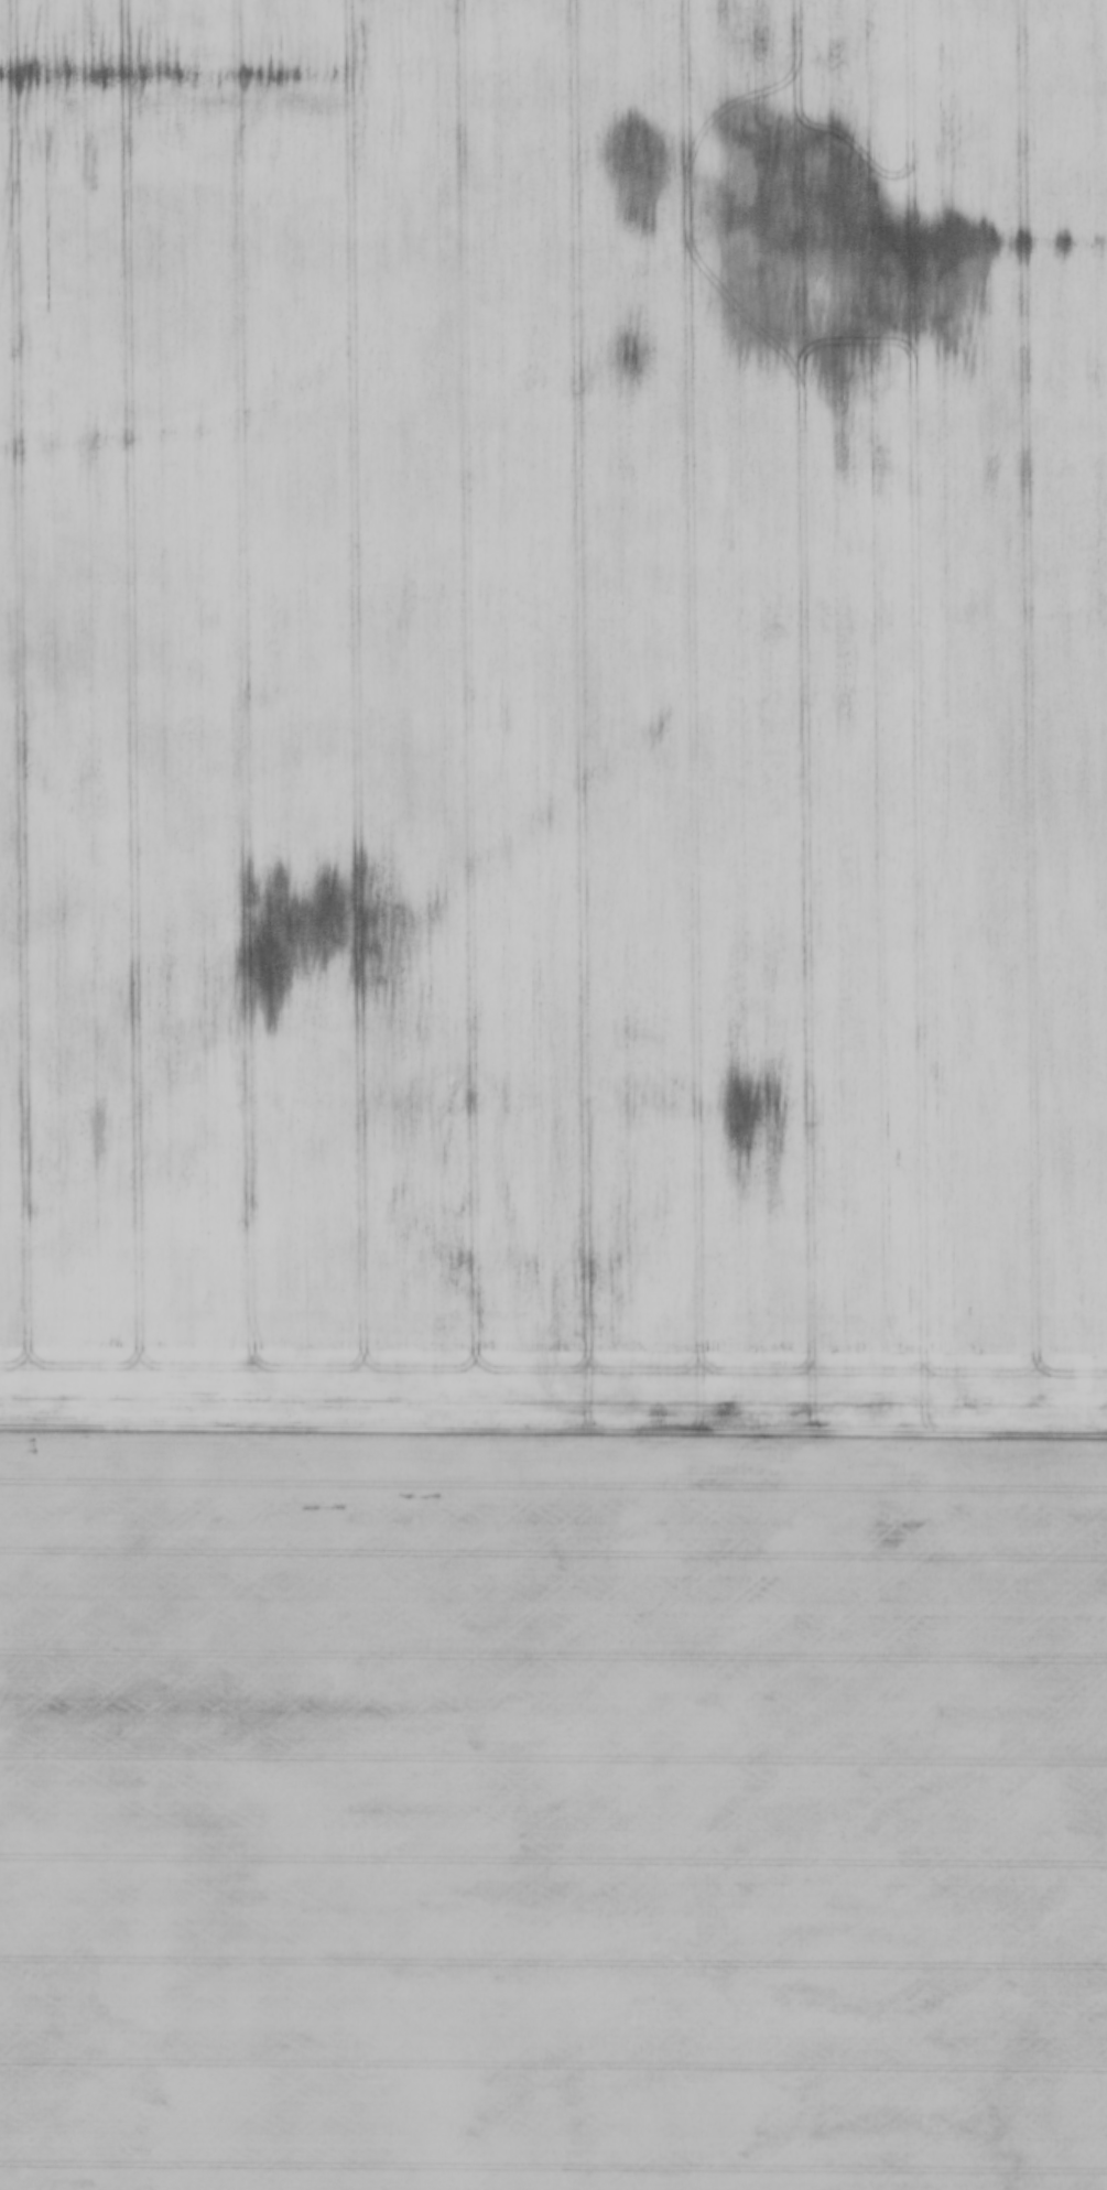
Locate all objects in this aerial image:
road: (553, 1428)

